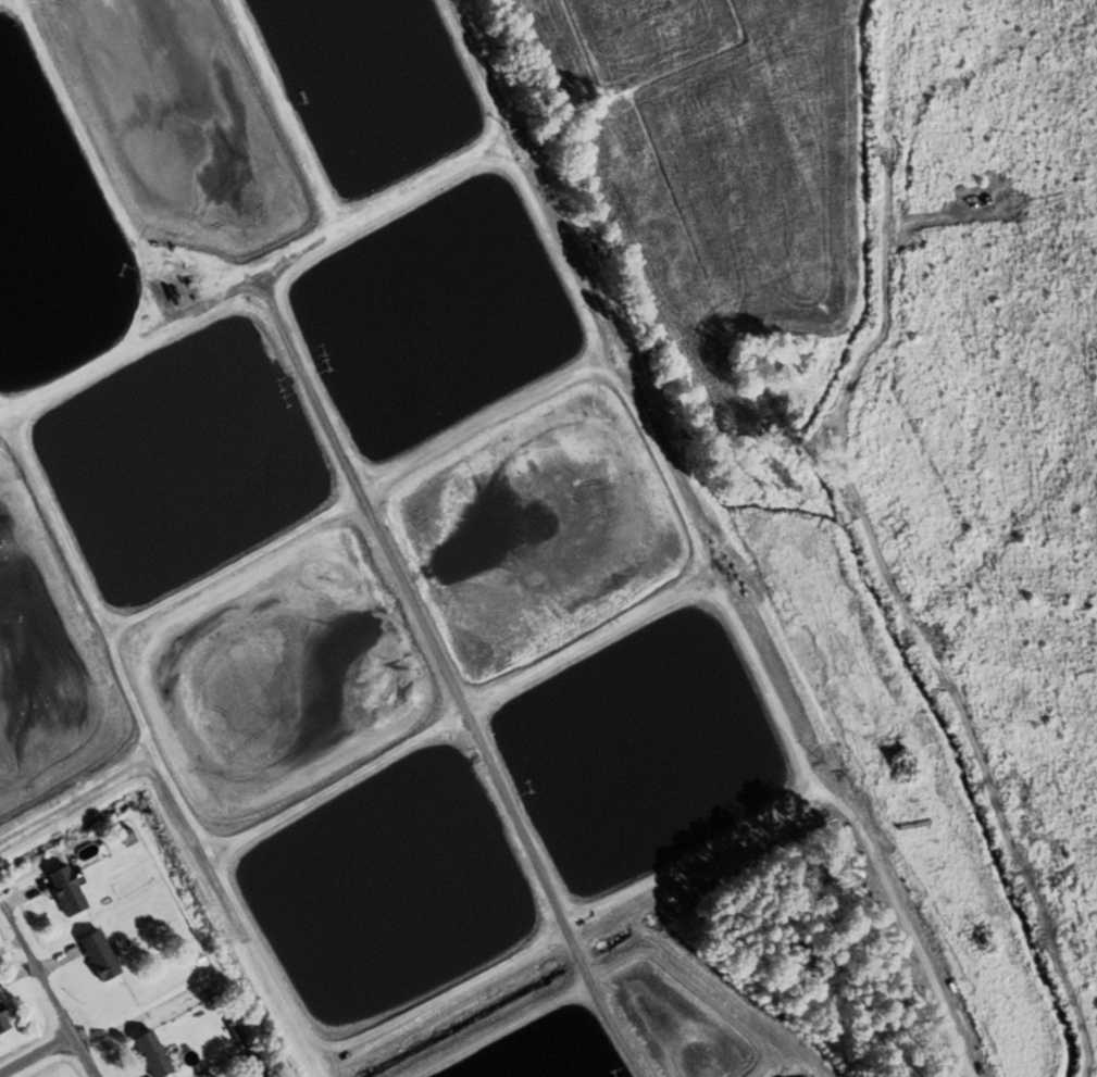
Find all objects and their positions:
building: (70, 890)
road: (18, 898)
road: (10, 943)
building: (101, 955)
road: (57, 963)
road: (16, 974)
road: (46, 989)
building: (4, 1019)
building: (154, 1054)
road: (36, 1055)

